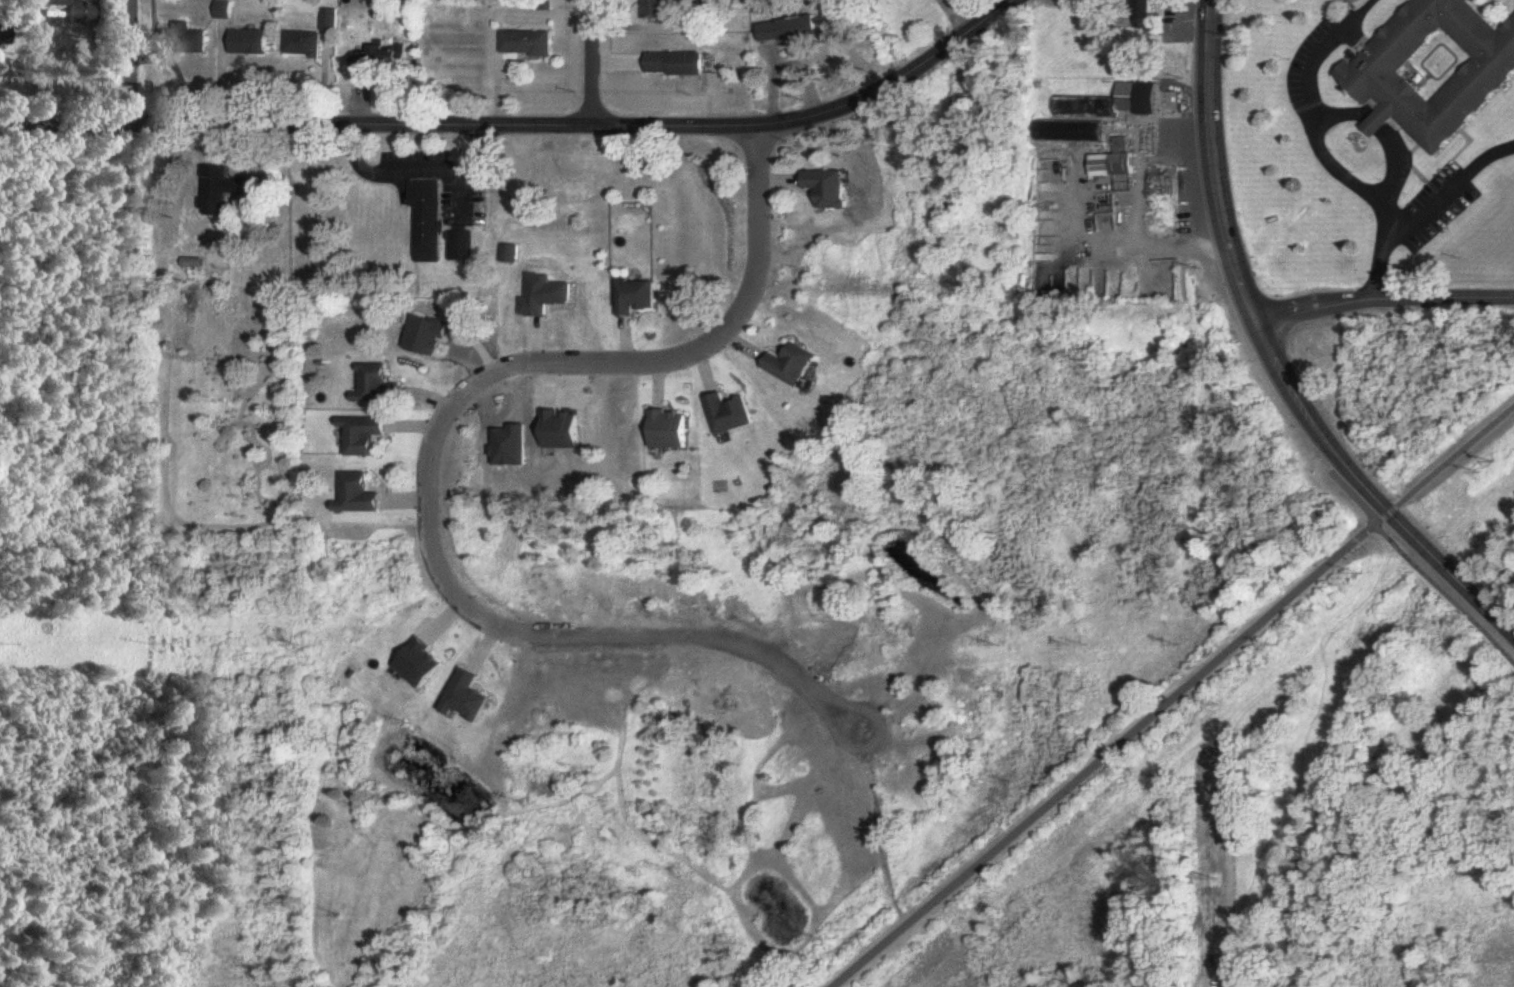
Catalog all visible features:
building: (60, 3)
road: (1363, 4)
building: (545, 6)
building: (657, 9)
building: (84, 14)
building: (1145, 14)
building: (789, 30)
building: (3, 34)
building: (315, 37)
building: (185, 40)
building: (252, 42)
building: (529, 43)
building: (393, 53)
road: (591, 64)
road: (27, 65)
building: (678, 65)
road: (130, 66)
building: (1436, 67)
building: (1111, 102)
road: (1311, 122)
road: (1382, 125)
road: (528, 129)
building: (1067, 132)
building: (1113, 161)
road: (1210, 164)
road: (412, 165)
road: (1452, 182)
building: (828, 188)
building: (219, 190)
building: (427, 219)
building: (462, 247)
road: (1383, 262)
building: (636, 297)
road: (1383, 304)
building: (792, 366)
building: (377, 386)
building: (730, 414)
building: (669, 430)
building: (365, 436)
road: (1449, 458)
road: (422, 478)
road: (1368, 492)
building: (359, 496)
road: (1441, 595)
road: (1108, 749)

